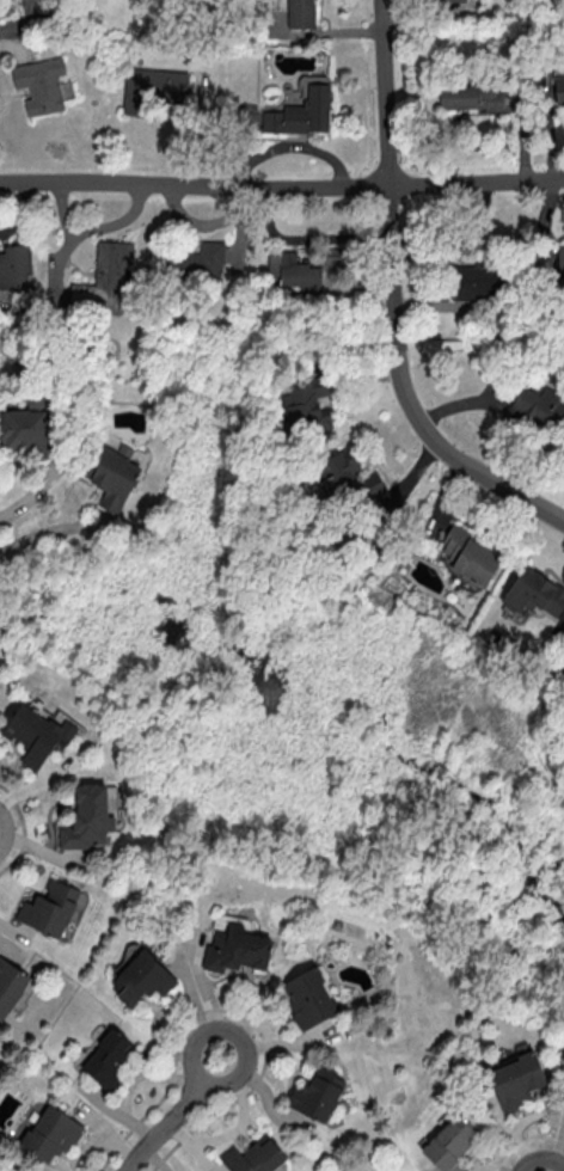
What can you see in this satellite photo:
building: (47, 0)
building: (456, 0)
building: (302, 13)
building: (41, 84)
building: (558, 84)
building: (152, 87)
building: (471, 97)
building: (302, 109)
road: (281, 185)
building: (560, 258)
building: (196, 263)
building: (16, 266)
building: (298, 271)
building: (105, 275)
building: (470, 283)
road: (393, 299)
building: (307, 405)
building: (538, 405)
building: (23, 430)
building: (348, 478)
building: (117, 482)
road: (30, 502)
road: (73, 526)
building: (470, 556)
building: (534, 591)
building: (560, 652)
building: (36, 734)
building: (87, 817)
road: (42, 851)
building: (49, 907)
building: (237, 949)
building: (143, 977)
building: (10, 985)
building: (309, 997)
building: (108, 1059)
building: (516, 1079)
building: (317, 1093)
road: (174, 1114)
building: (51, 1133)
building: (449, 1142)
building: (253, 1155)

